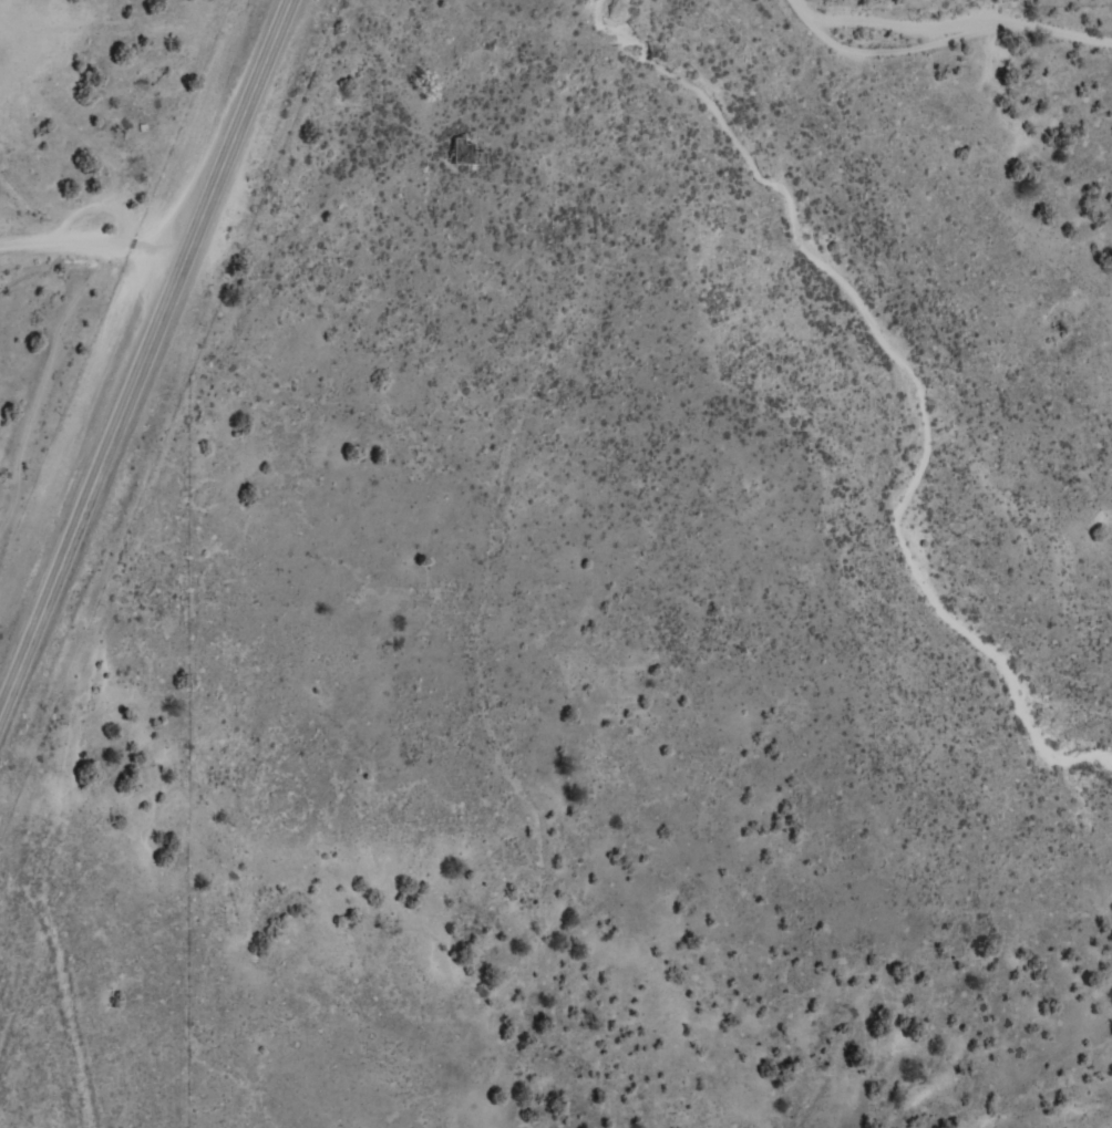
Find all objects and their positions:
building: (466, 153)
road: (148, 356)

